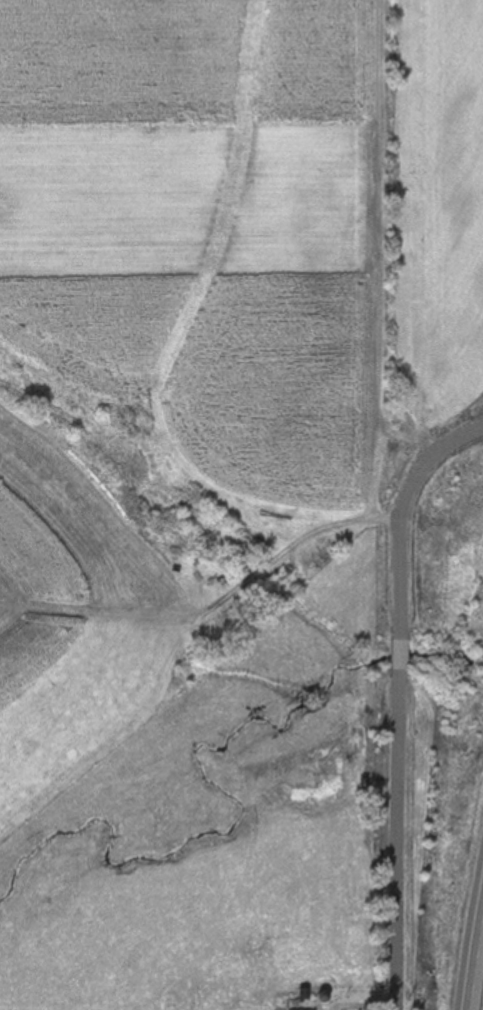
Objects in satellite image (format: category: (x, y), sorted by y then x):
road: (402, 514)
road: (400, 655)
road: (397, 840)
road: (474, 951)

